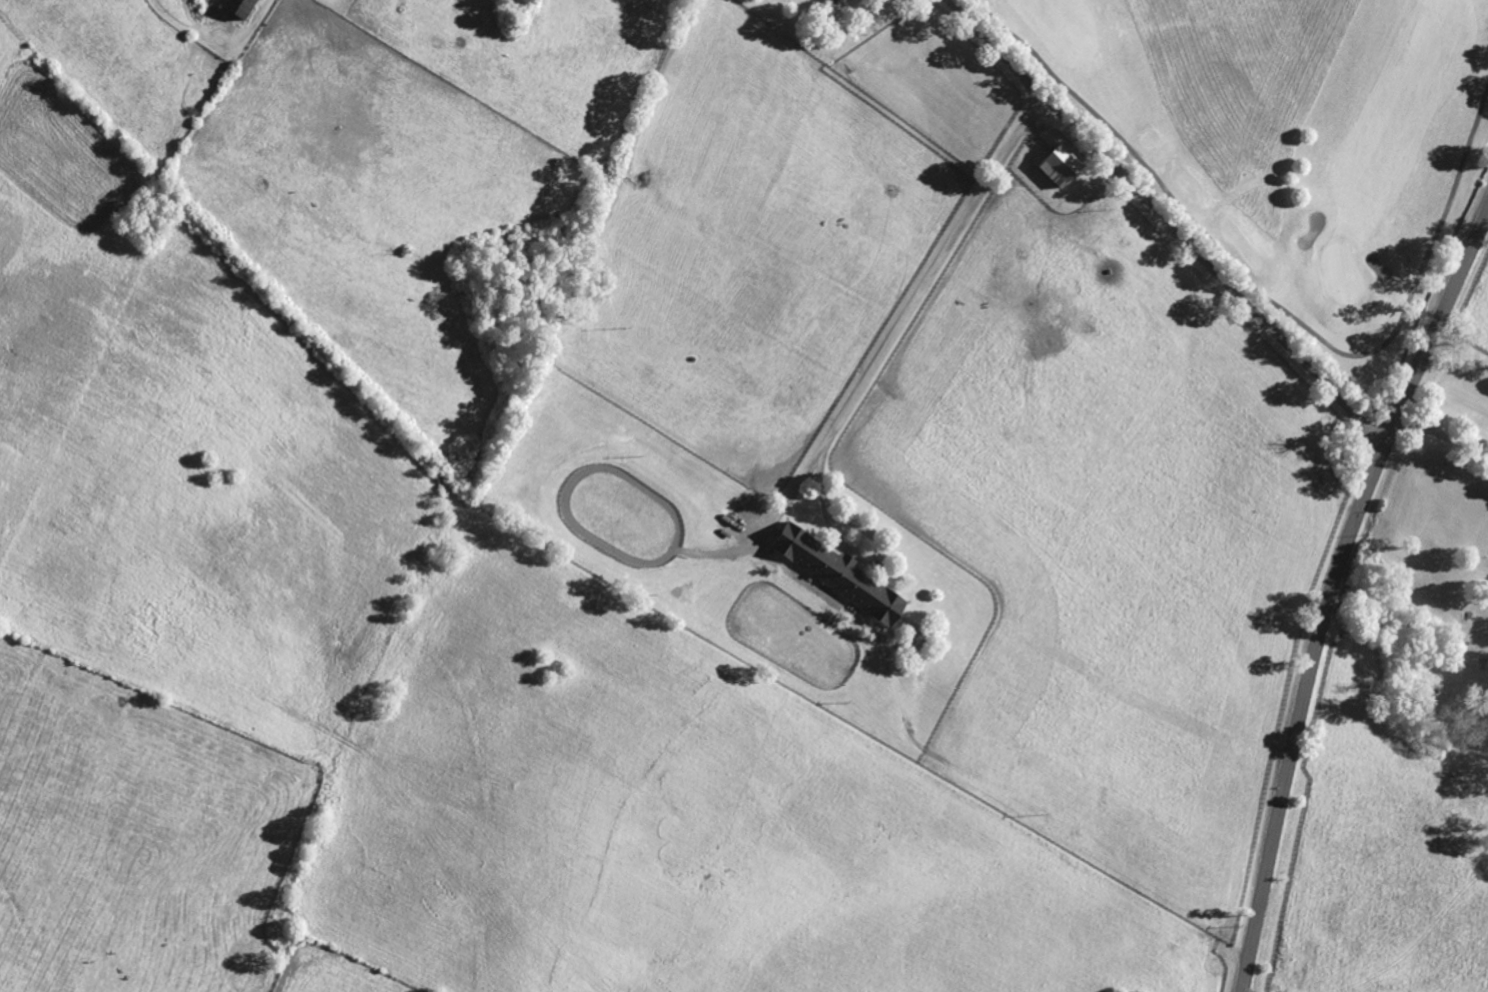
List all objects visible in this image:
building: (246, 8)
park: (1295, 139)
building: (1067, 167)
road: (1167, 225)
road: (904, 317)
road: (1442, 434)
building: (844, 576)
road: (1329, 586)
crop: (409, 690)

